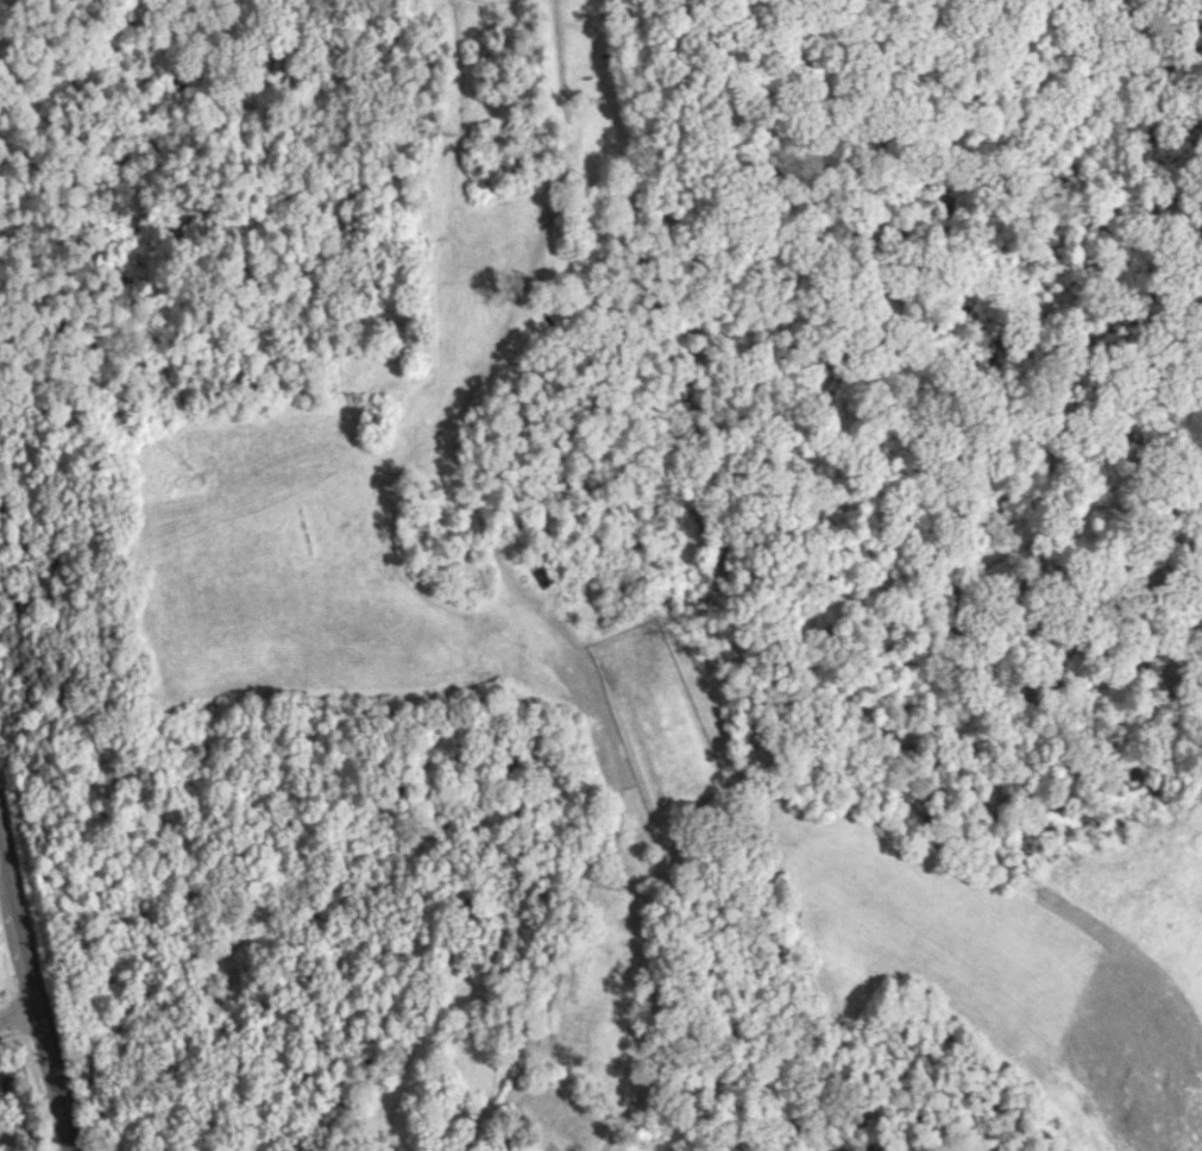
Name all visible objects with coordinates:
road: (698, 367)
road: (451, 452)
park: (609, 568)
road: (956, 586)
road: (671, 879)
road: (33, 992)
road: (18, 1013)
building: (4, 1077)
road: (623, 1115)

